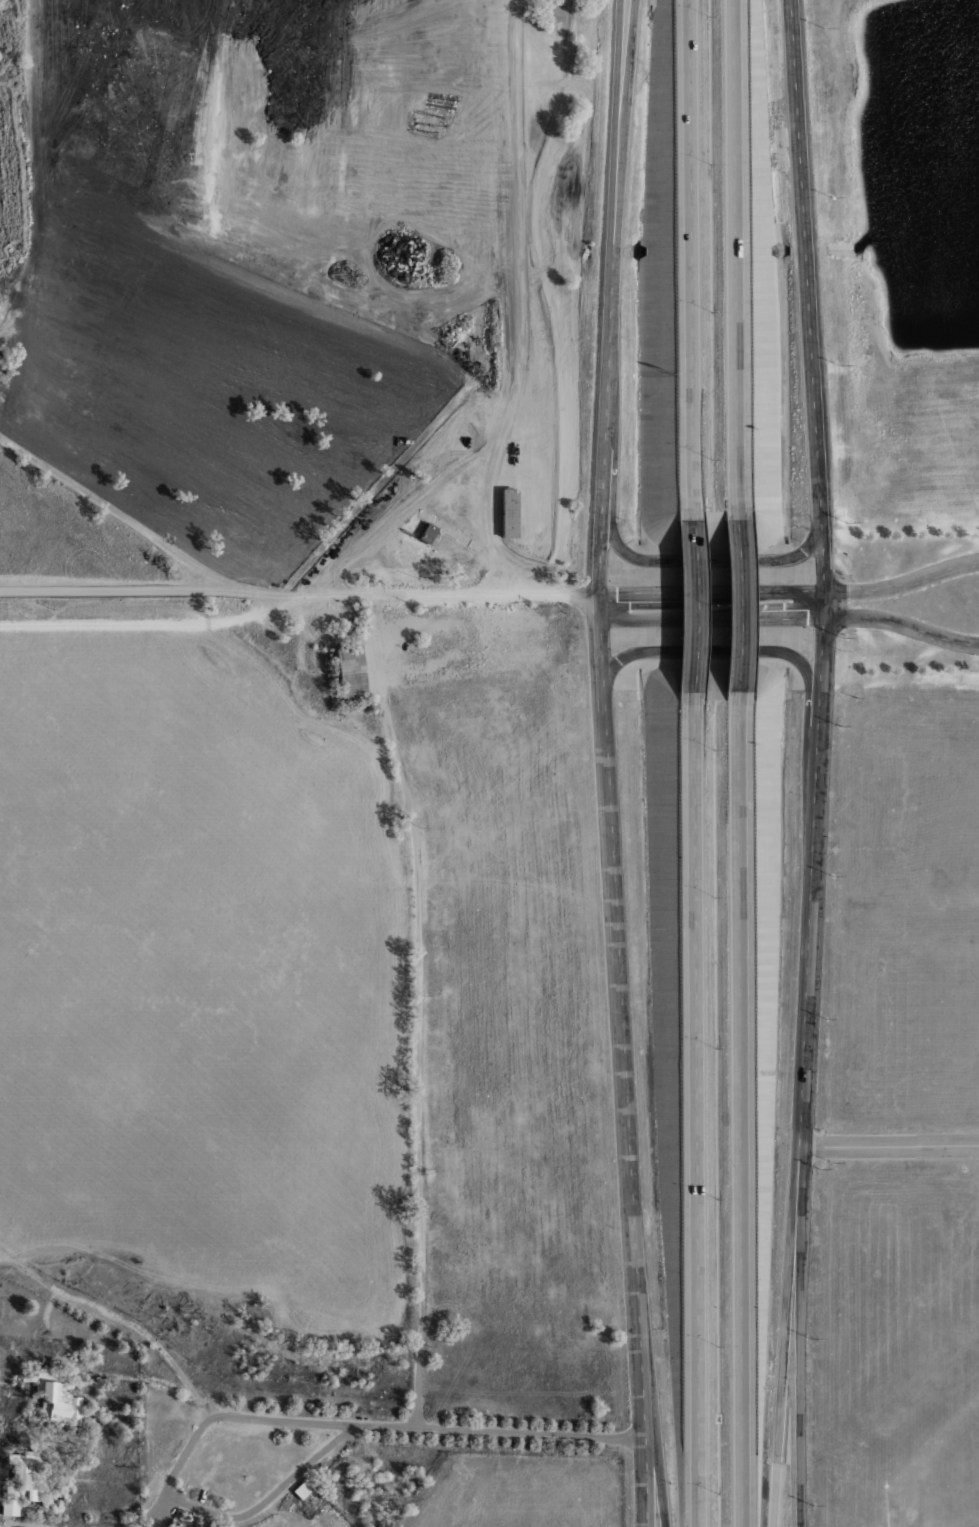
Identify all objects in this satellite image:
road: (629, 45)
road: (692, 257)
road: (734, 257)
road: (809, 295)
building: (506, 512)
road: (133, 524)
building: (424, 532)
road: (712, 560)
road: (903, 582)
road: (712, 593)
road: (297, 597)
road: (694, 607)
road: (737, 607)
road: (713, 617)
road: (903, 625)
road: (717, 651)
building: (346, 671)
road: (605, 763)
road: (417, 1052)
road: (806, 1059)
road: (698, 1113)
road: (741, 1113)
road: (889, 1145)
road: (27, 1269)
road: (137, 1329)
road: (785, 1381)
building: (51, 1396)
road: (363, 1425)
road: (654, 1429)
road: (172, 1472)
building: (21, 1480)
building: (298, 1491)
road: (267, 1500)
road: (25, 1524)
building: (172, 1525)

